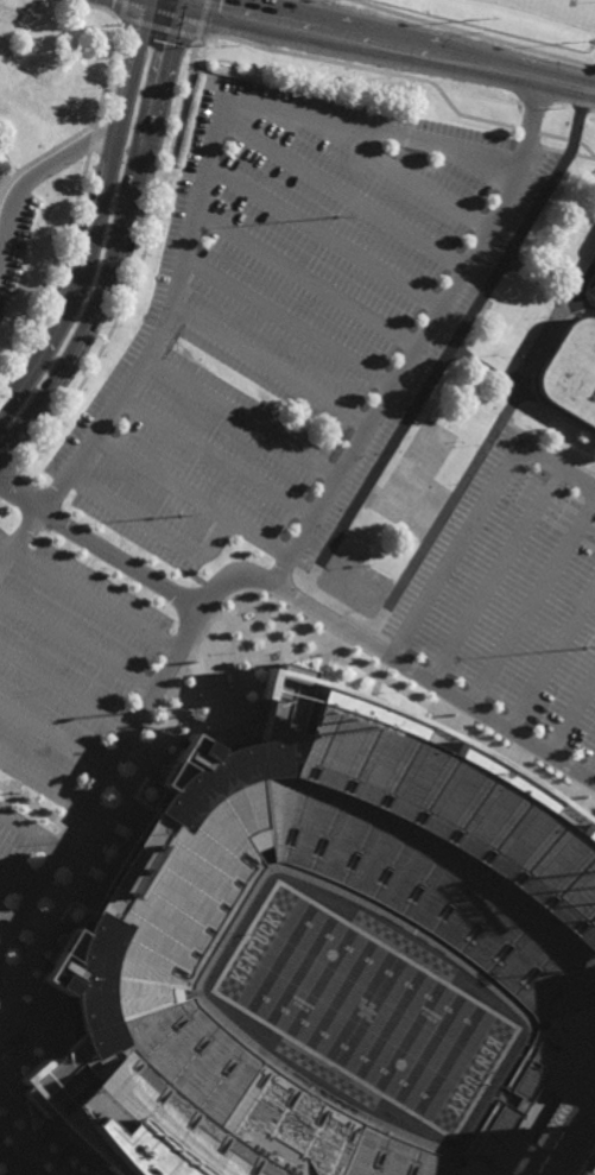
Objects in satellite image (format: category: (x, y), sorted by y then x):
road: (91, 7)
park: (549, 11)
road: (120, 12)
road: (201, 21)
road: (156, 33)
road: (474, 34)
road: (393, 46)
road: (404, 76)
road: (372, 131)
road: (42, 172)
road: (399, 176)
road: (342, 192)
road: (77, 200)
road: (99, 211)
road: (325, 236)
road: (125, 244)
road: (132, 283)
road: (305, 283)
road: (547, 285)
building: (594, 288)
road: (164, 318)
road: (287, 324)
road: (439, 339)
road: (423, 340)
road: (448, 348)
road: (268, 365)
road: (485, 367)
building: (572, 372)
road: (556, 415)
road: (240, 418)
road: (450, 422)
parking lot: (228, 447)
road: (547, 447)
road: (479, 454)
road: (216, 456)
road: (191, 497)
road: (479, 514)
road: (157, 525)
road: (20, 535)
road: (99, 547)
road: (374, 554)
road: (496, 579)
road: (95, 596)
road: (532, 602)
parking lot: (509, 605)
road: (77, 643)
road: (395, 661)
road: (553, 663)
road: (67, 689)
road: (572, 719)
road: (53, 738)
road: (590, 772)
road: (44, 779)
road: (103, 781)
road: (31, 828)
road: (18, 877)
building: (482, 906)
road: (7, 920)
stadium: (340, 965)
park: (366, 1003)
road: (18, 1163)
parking lot: (12, 1167)
road: (30, 1173)

